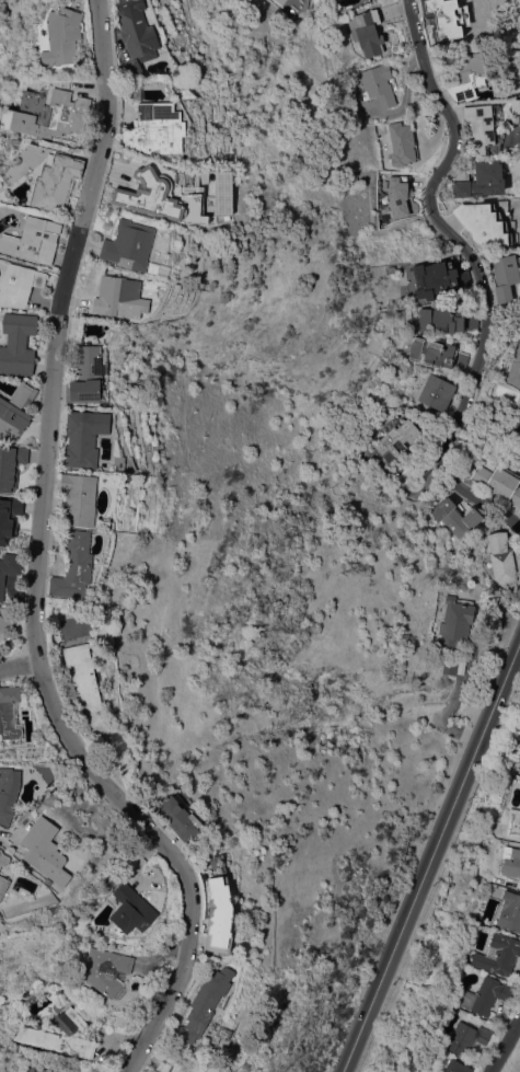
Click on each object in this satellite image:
building: (278, 0)
building: (281, 0)
building: (444, 19)
building: (367, 32)
building: (61, 36)
building: (136, 36)
building: (469, 77)
building: (378, 84)
building: (137, 94)
building: (515, 105)
building: (50, 116)
building: (479, 127)
building: (155, 130)
building: (402, 143)
building: (481, 181)
building: (55, 183)
building: (140, 193)
building: (397, 196)
building: (484, 223)
building: (34, 240)
building: (129, 245)
road: (473, 270)
building: (506, 276)
building: (434, 279)
building: (19, 285)
building: (120, 295)
building: (447, 320)
building: (18, 344)
building: (431, 351)
building: (515, 369)
building: (86, 374)
building: (437, 392)
building: (15, 412)
building: (516, 426)
building: (84, 437)
building: (397, 438)
building: (11, 465)
building: (498, 482)
building: (79, 499)
building: (9, 517)
building: (455, 517)
building: (501, 558)
road: (41, 566)
building: (74, 566)
building: (9, 568)
building: (5, 620)
building: (454, 623)
building: (450, 664)
road: (20, 669)
building: (83, 682)
building: (11, 712)
building: (518, 765)
building: (8, 793)
building: (181, 817)
building: (512, 823)
building: (46, 851)
building: (3, 858)
road: (431, 861)
building: (511, 861)
building: (3, 886)
building: (131, 910)
building: (510, 911)
building: (220, 915)
building: (499, 954)
building: (105, 969)
building: (486, 995)
building: (204, 1003)
building: (57, 1035)
building: (466, 1037)
road: (506, 1048)
building: (163, 1067)
building: (457, 1067)
building: (28, 1068)
building: (43, 1070)
building: (67, 1071)

